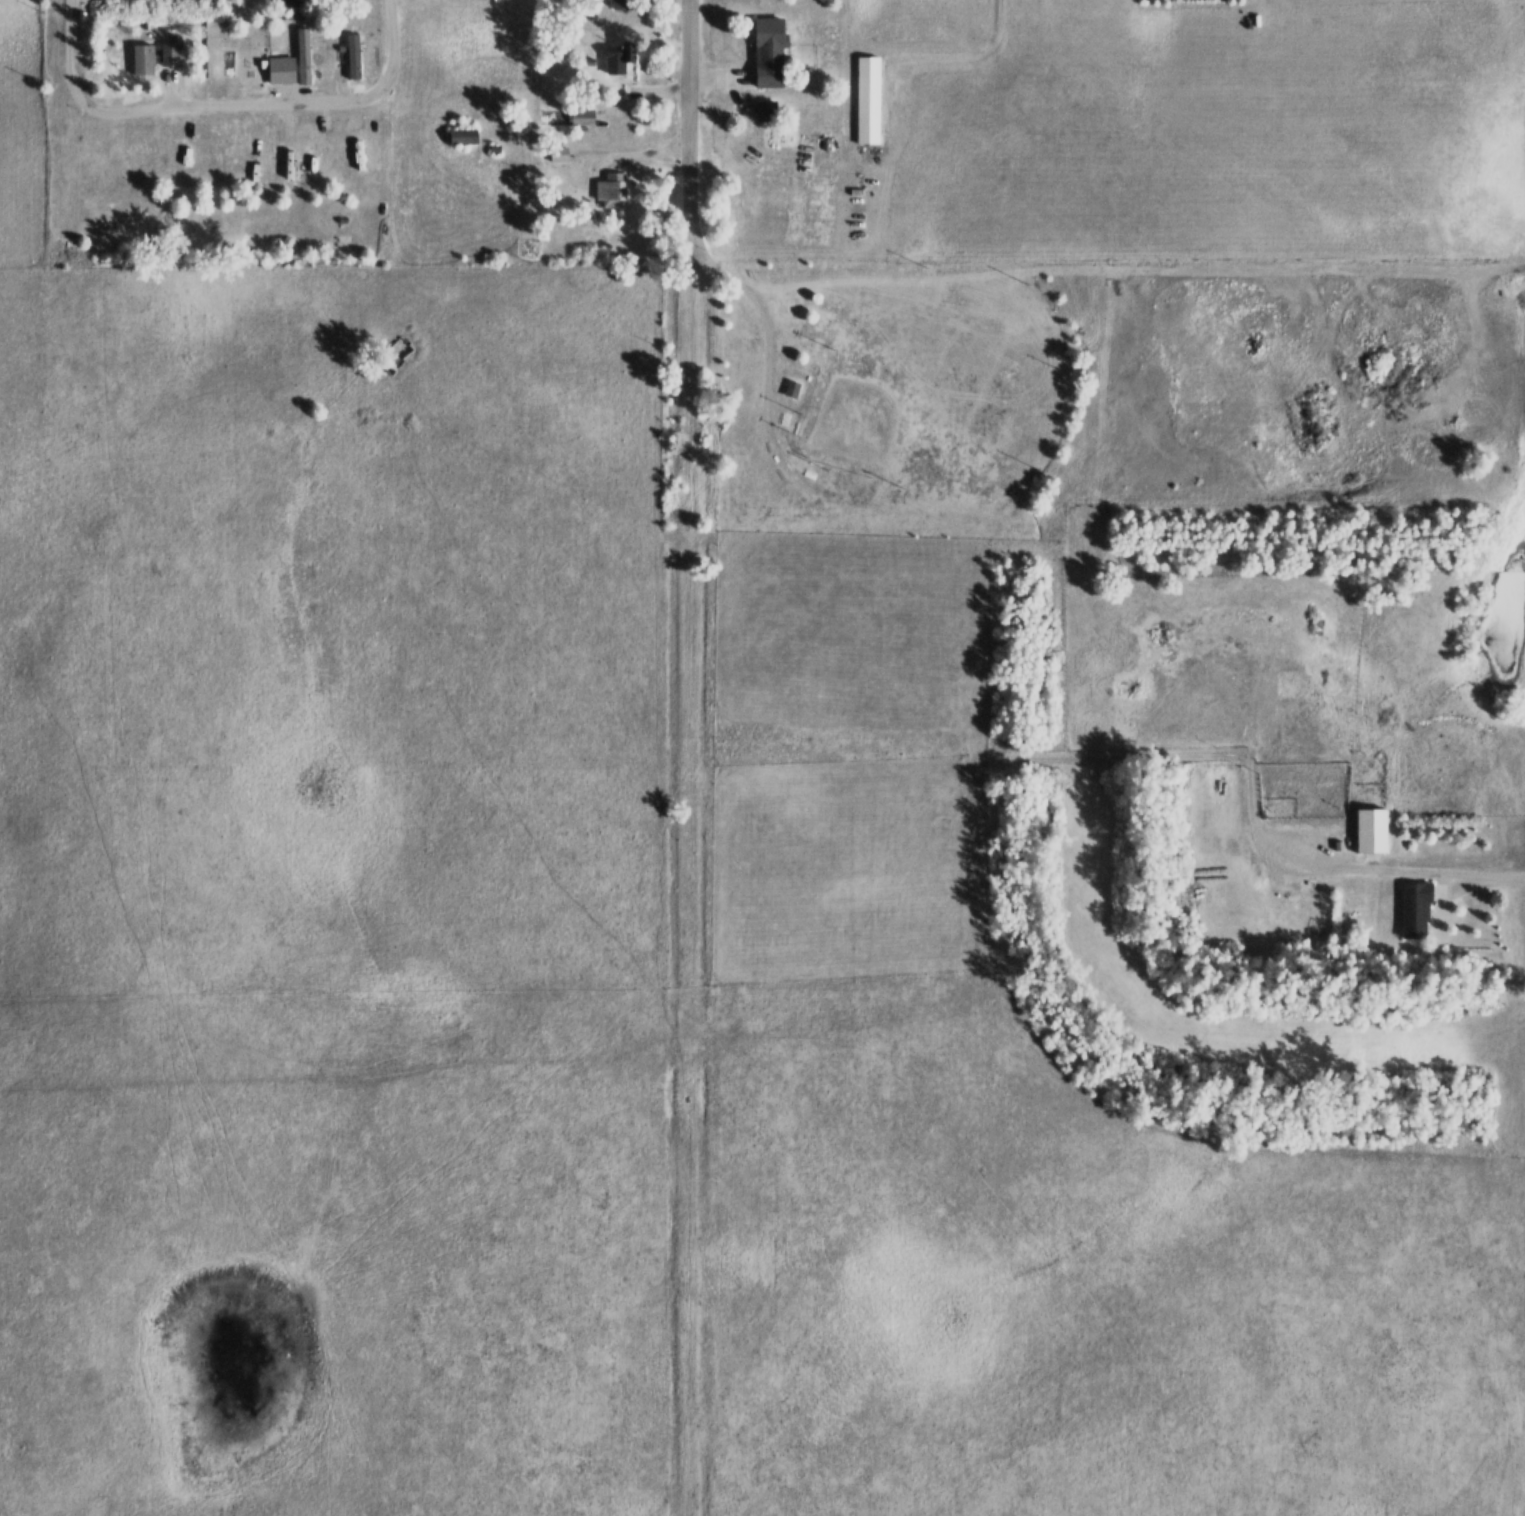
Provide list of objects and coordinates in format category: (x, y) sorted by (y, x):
building: (618, 5)
road: (396, 50)
building: (770, 50)
road: (79, 54)
building: (168, 56)
building: (302, 57)
building: (351, 57)
building: (614, 59)
building: (141, 61)
building: (278, 71)
building: (869, 98)
road: (239, 108)
building: (763, 111)
building: (579, 118)
building: (459, 137)
building: (556, 155)
building: (609, 192)
road: (700, 258)
building: (790, 391)
park: (887, 415)
building: (1371, 825)
building: (1413, 912)

